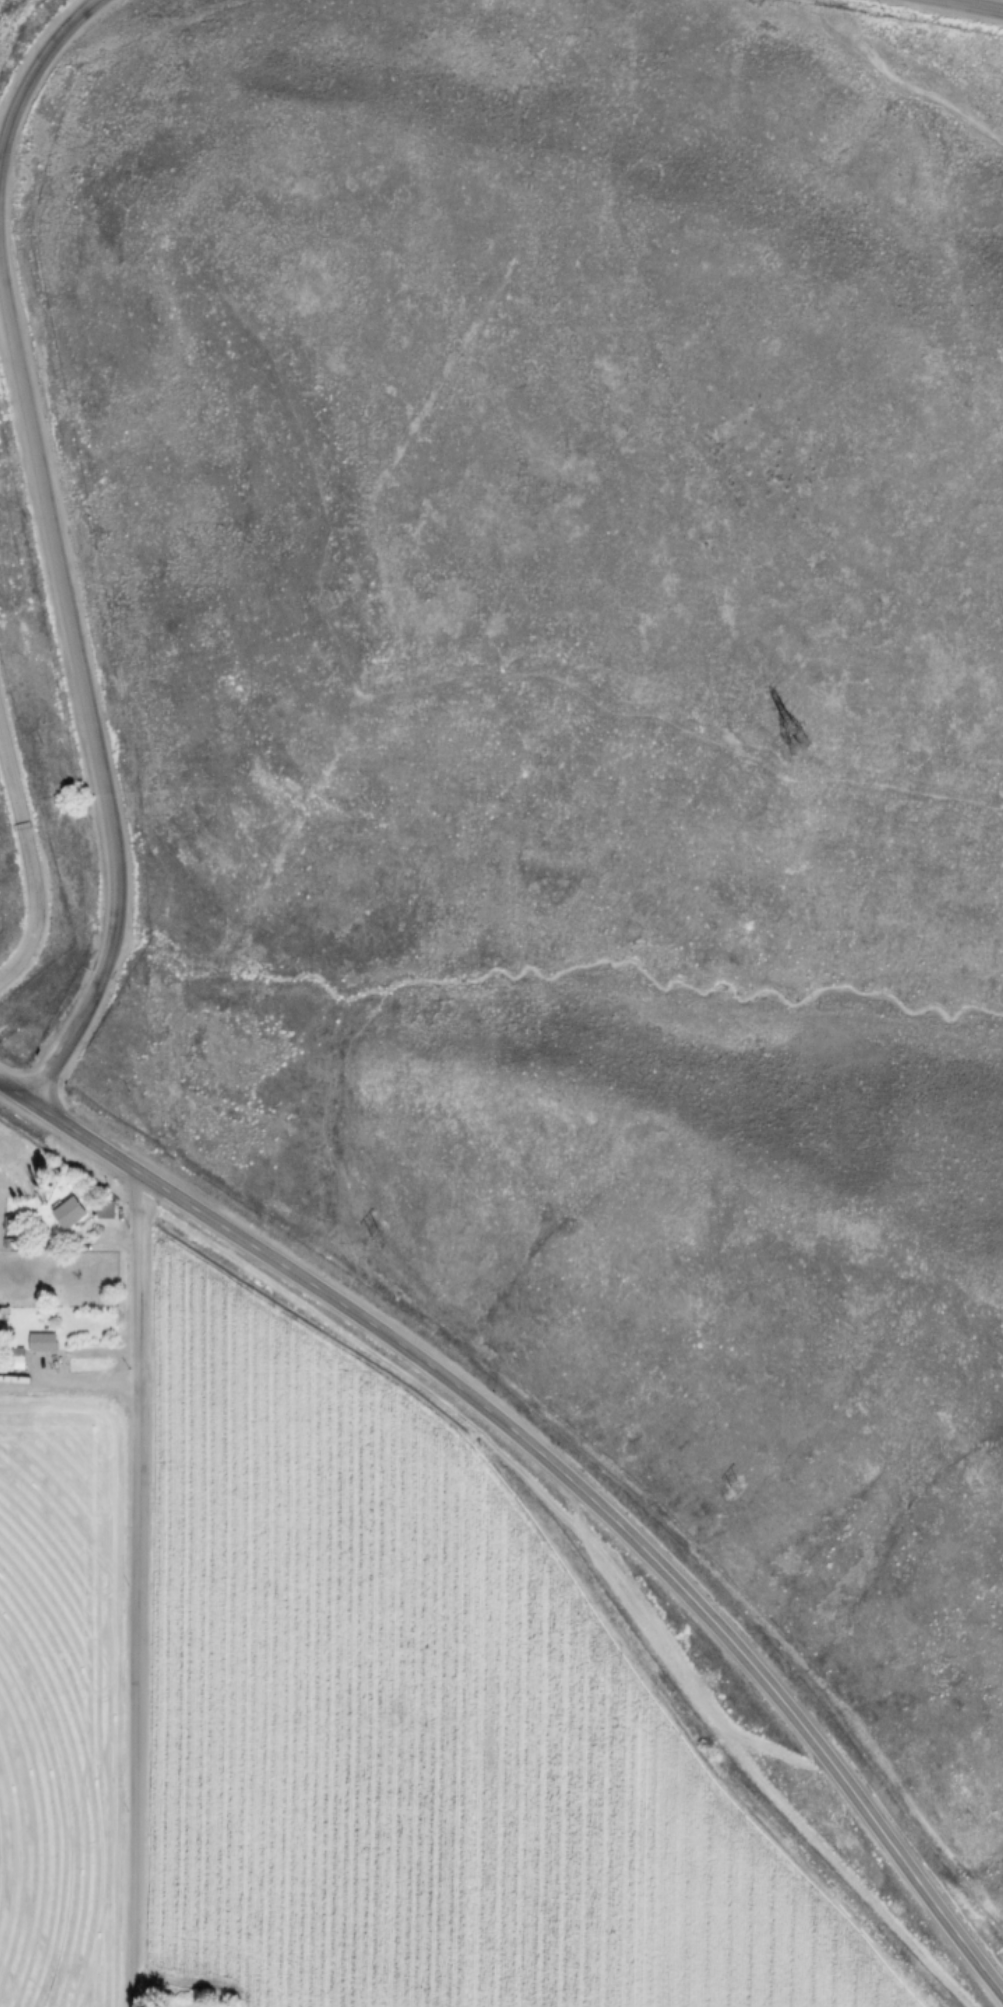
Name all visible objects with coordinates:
road: (983, 2)
road: (30, 82)
road: (68, 598)
power tower: (796, 739)
road: (32, 852)
road: (84, 1025)
building: (104, 1208)
building: (68, 1212)
building: (42, 1341)
building: (12, 1359)
road: (561, 1468)
road: (141, 1592)

